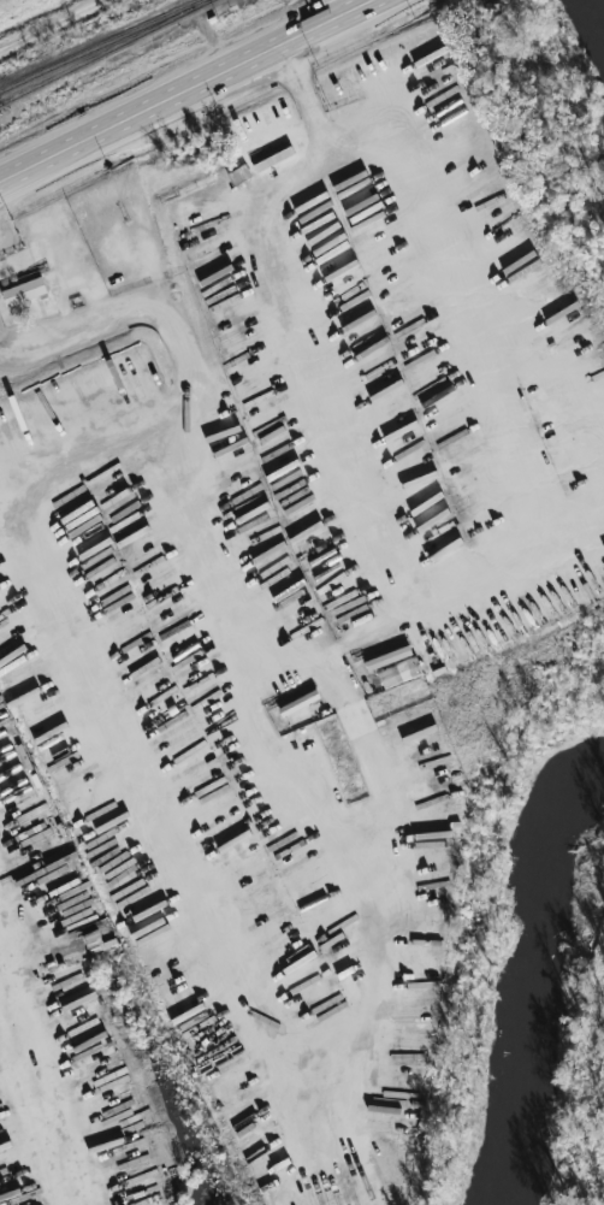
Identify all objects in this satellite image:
river: (602, 2)
landfill: (12, 6)
road: (52, 24)
railway: (100, 43)
railway: (106, 52)
road: (184, 87)
building: (19, 293)
road: (197, 378)
road: (105, 379)
road: (118, 528)
road: (416, 592)
road: (148, 596)
road: (202, 717)
road: (357, 723)
road: (103, 860)
road: (301, 933)
river: (519, 977)
road: (37, 1091)

